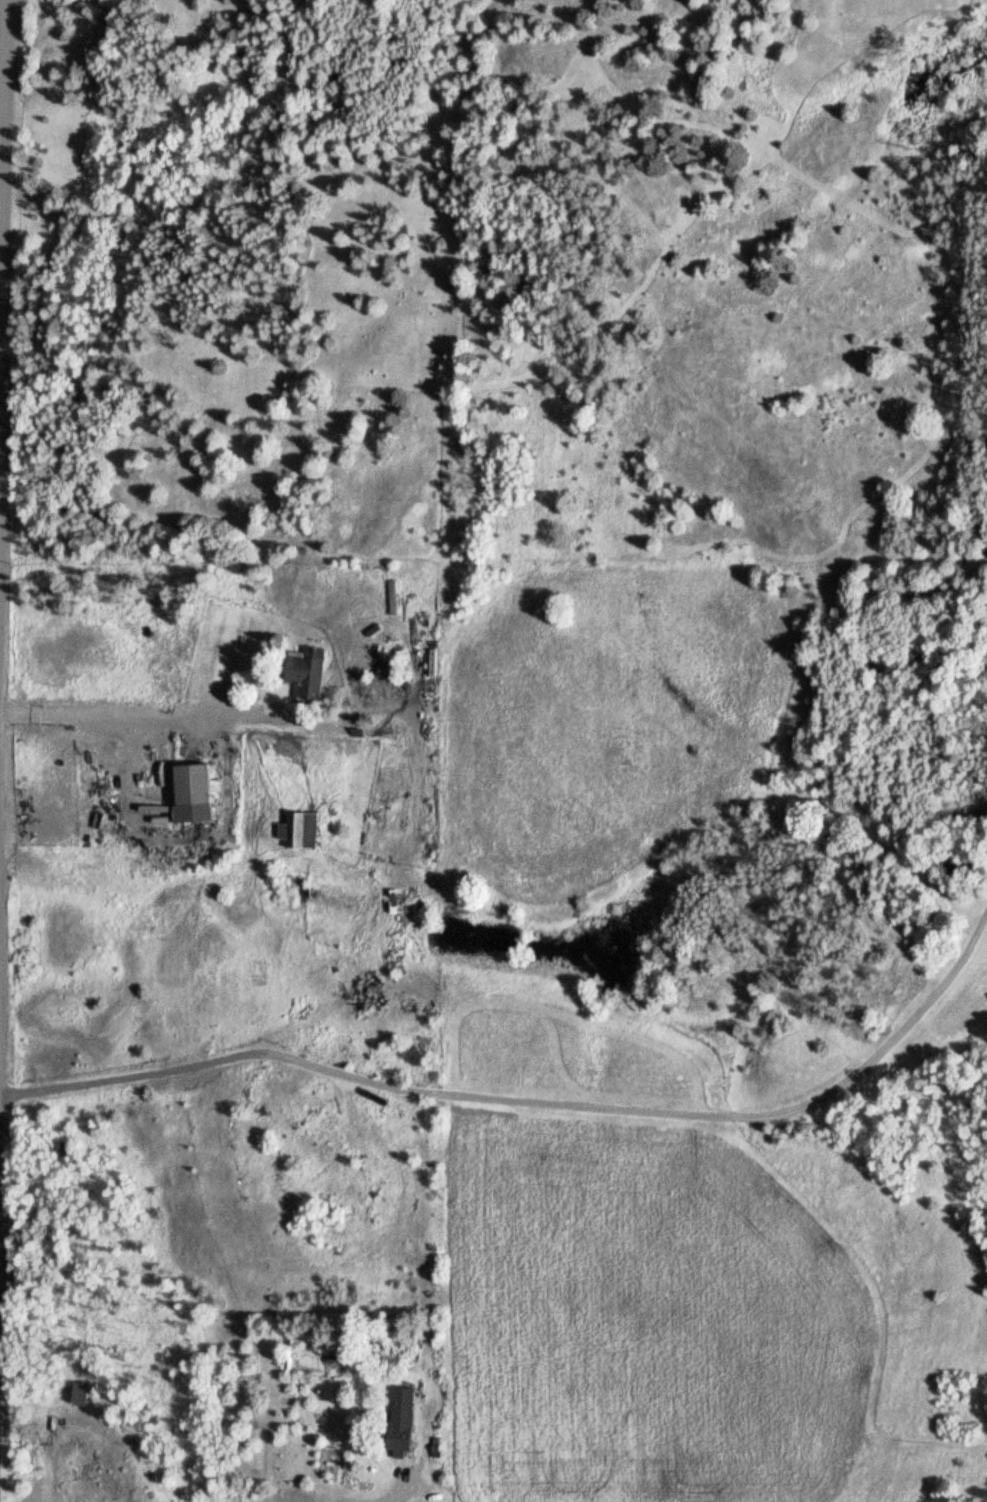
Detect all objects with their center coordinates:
road: (3, 601)
building: (301, 675)
road: (132, 721)
building: (193, 793)
building: (380, 806)
building: (300, 831)
road: (1, 1044)
road: (538, 1105)
building: (387, 1278)
building: (81, 1395)
building: (401, 1423)
road: (397, 1492)

